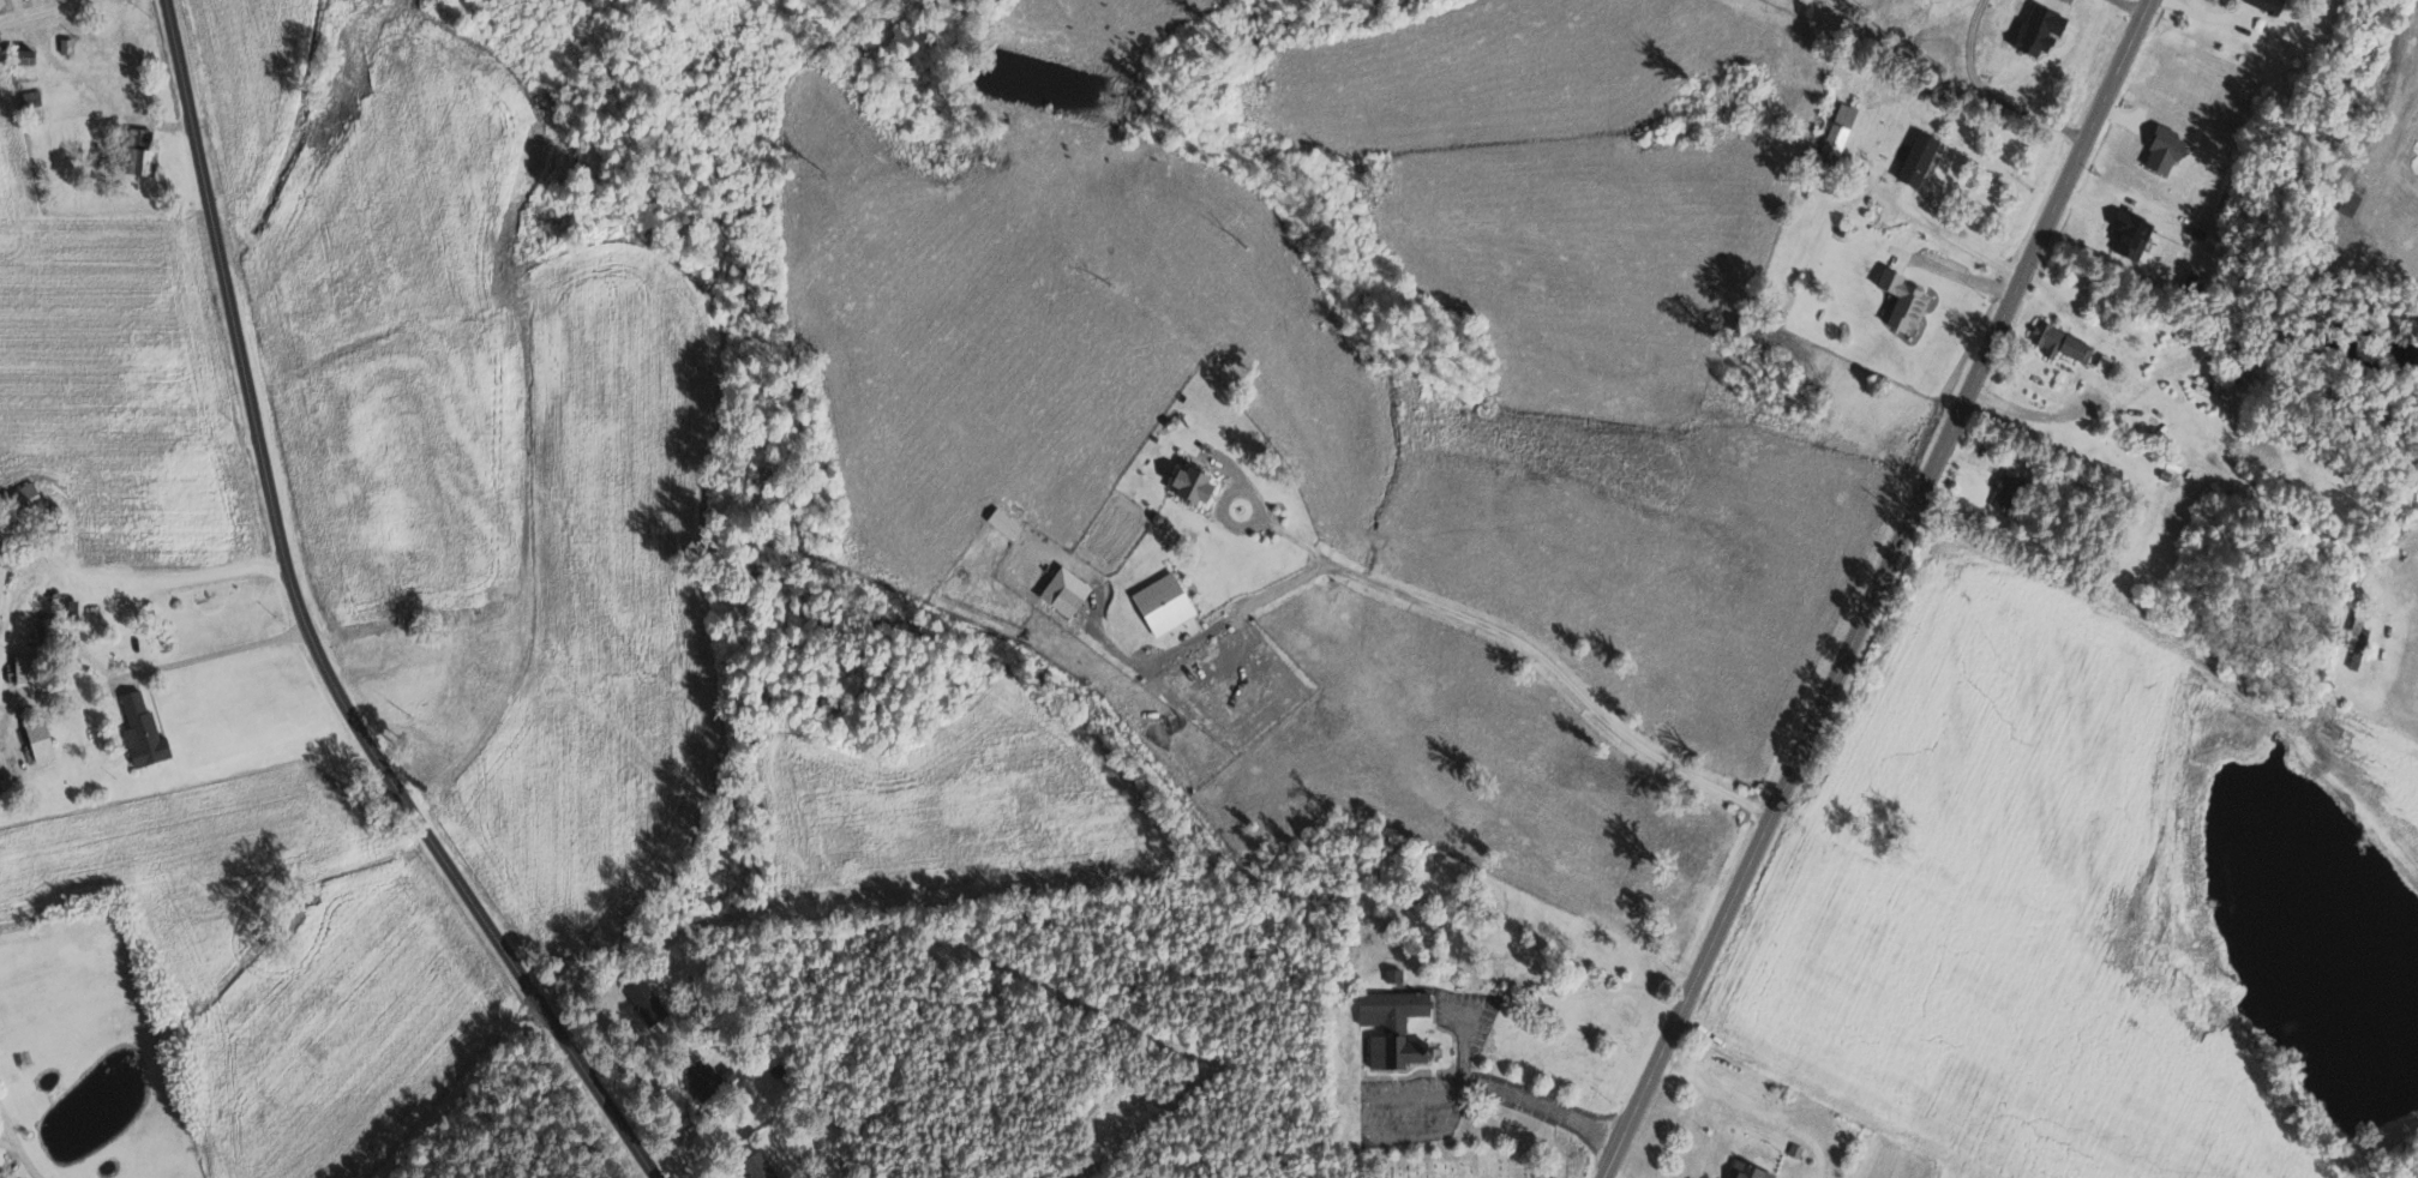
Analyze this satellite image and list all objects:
building: (2264, 5)
road: (46, 10)
building: (0, 12)
road: (1950, 77)
building: (1836, 128)
building: (1823, 157)
building: (1913, 158)
building: (146, 161)
road: (1957, 240)
building: (1900, 301)
building: (2058, 343)
road: (2174, 443)
building: (1186, 485)
building: (2002, 491)
building: (23, 500)
road: (126, 585)
building: (4, 589)
road: (1876, 589)
building: (1060, 591)
building: (1158, 605)
road: (1212, 618)
building: (54, 630)
road: (307, 630)
road: (1525, 630)
building: (2357, 639)
road: (216, 650)
building: (35, 671)
building: (148, 732)
building: (44, 739)
building: (1390, 976)
building: (650, 1002)
building: (1391, 1028)
building: (709, 1084)
road: (455, 1093)
road: (1742, 1106)
road: (1550, 1107)
road: (8, 1128)
road: (8, 1142)
road: (28, 1161)
building: (766, 1168)
building: (1744, 1171)
road: (1610, 1176)

